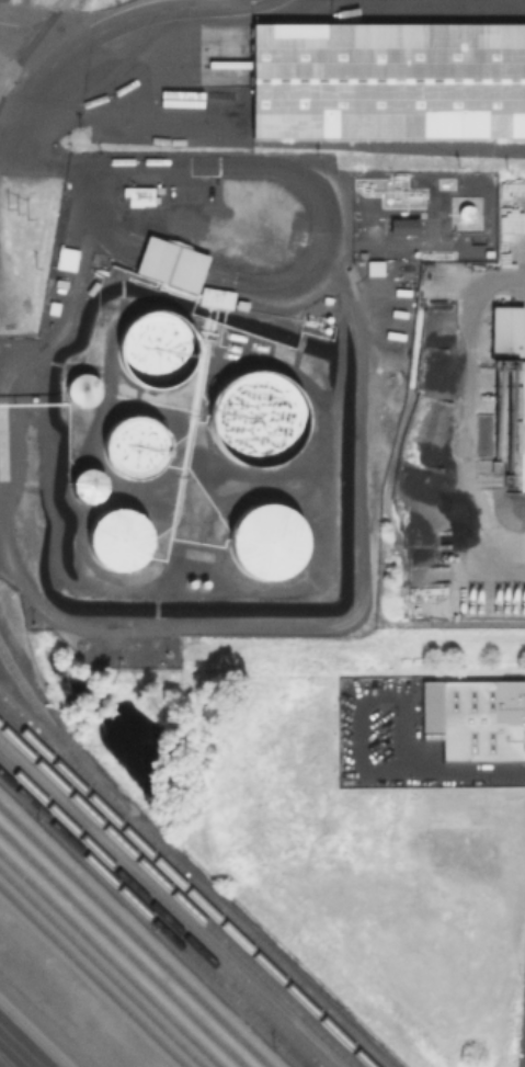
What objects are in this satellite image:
road: (101, 33)
railway: (28, 47)
building: (389, 81)
building: (404, 228)
building: (172, 265)
building: (376, 269)
building: (216, 299)
building: (509, 331)
road: (470, 340)
road: (510, 548)
road: (359, 697)
building: (477, 720)
railway: (58, 735)
road: (465, 769)
railway: (194, 879)
railway: (185, 887)
railway: (179, 894)
railway: (168, 905)
railway: (161, 911)
railway: (152, 919)
railway: (144, 928)
railway: (134, 935)
railway: (122, 949)
railway: (110, 960)
railway: (101, 968)
railway: (88, 979)
wastewater plant: (521, 1019)
railway: (36, 1032)
road: (15, 1051)

